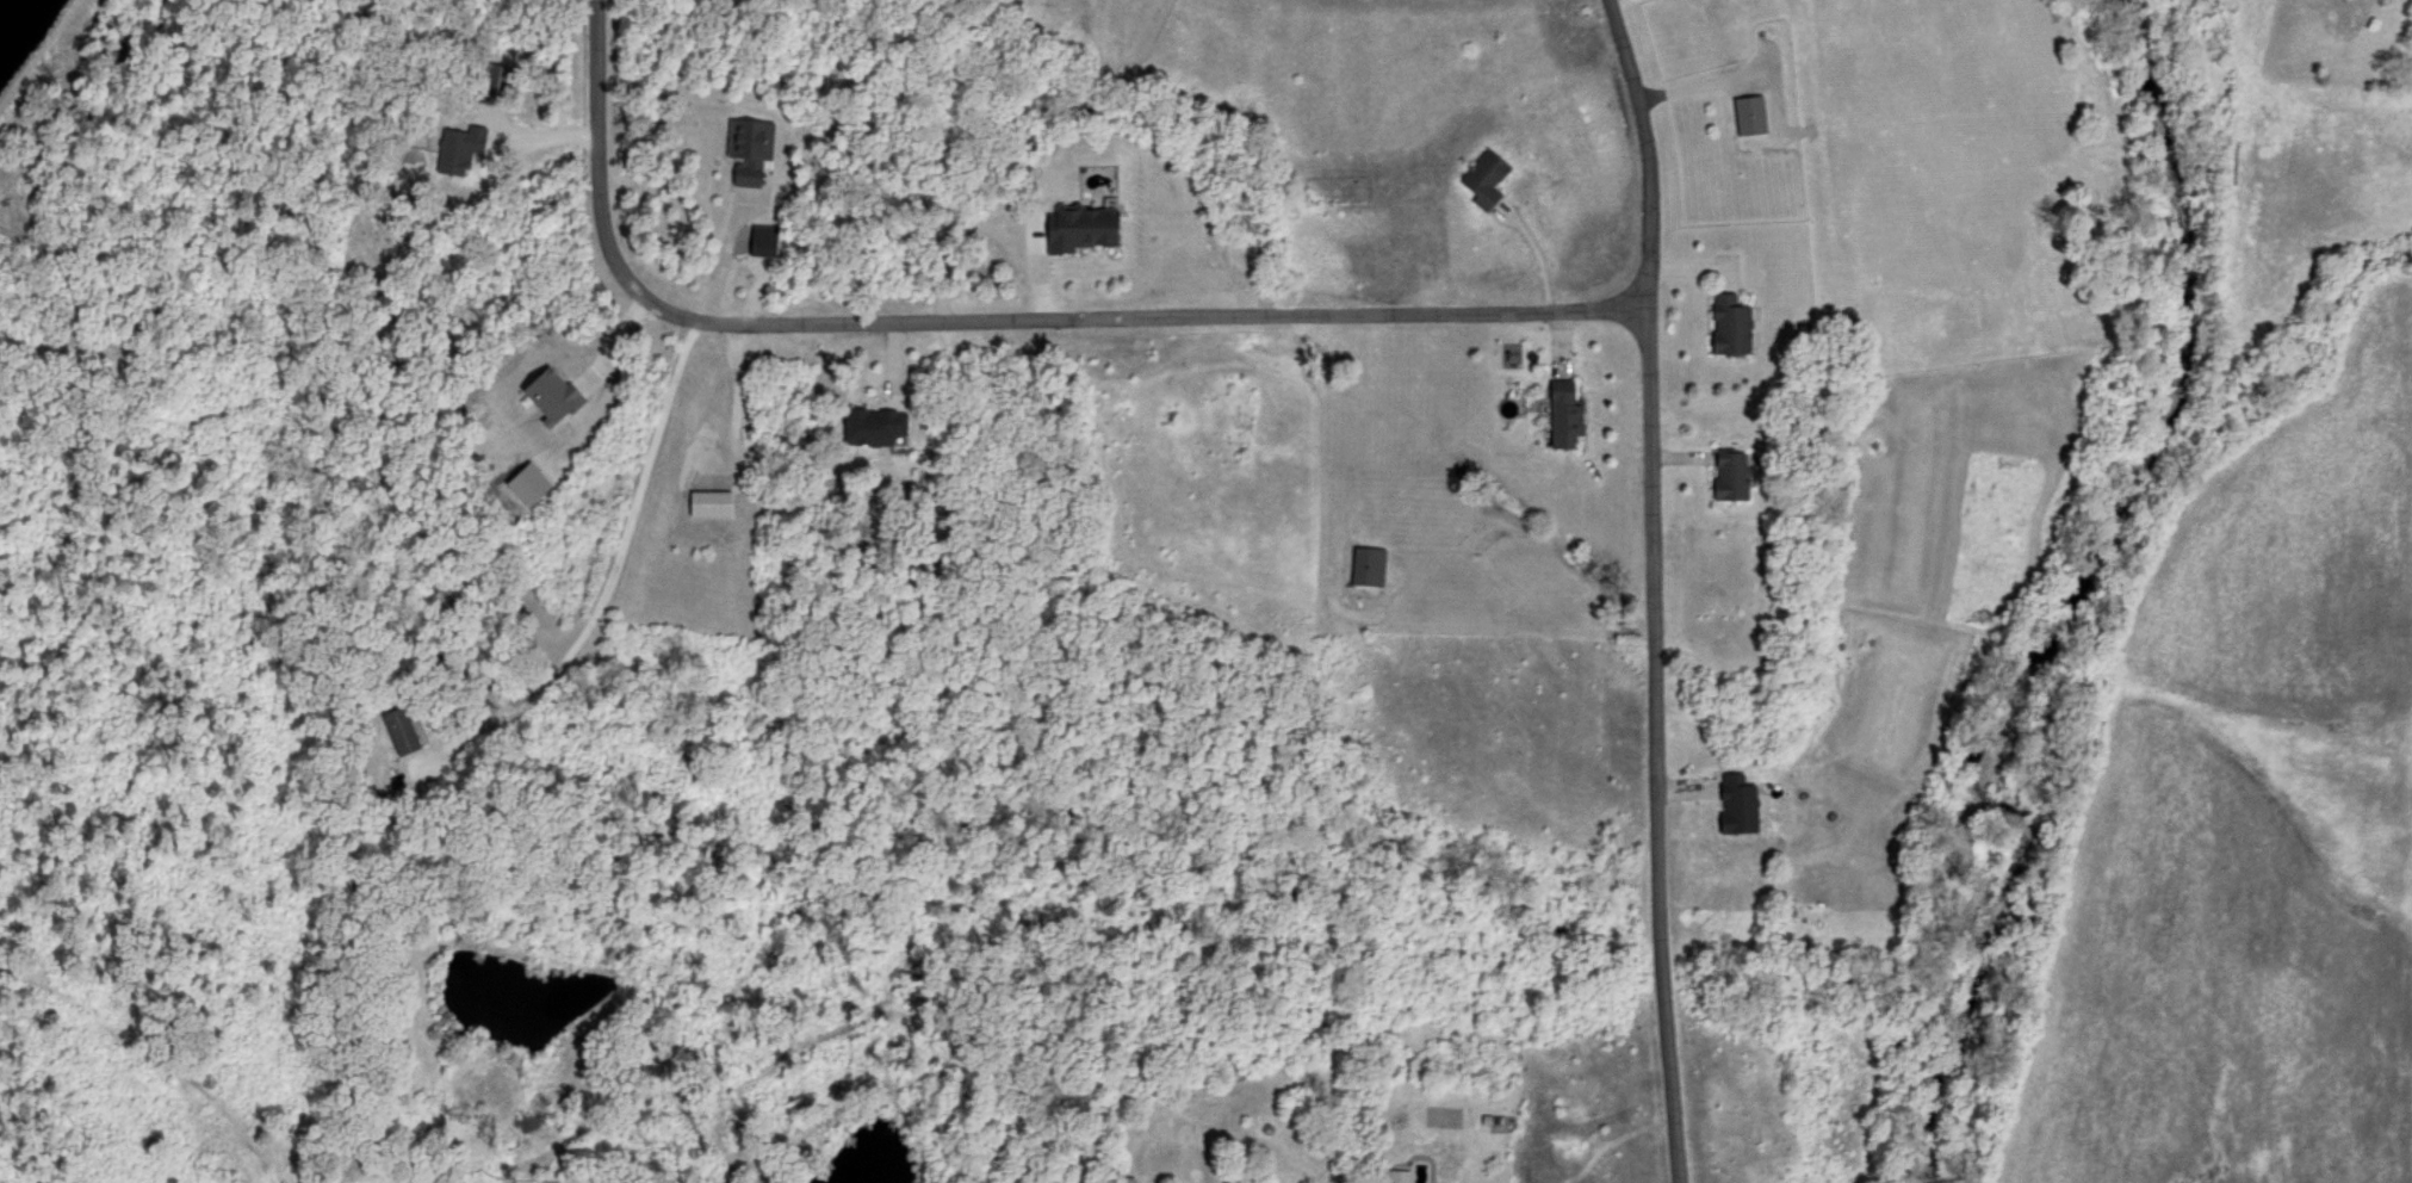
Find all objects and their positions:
road: (1734, 73)
building: (1754, 112)
road: (533, 137)
building: (751, 148)
road: (1650, 155)
building: (1489, 176)
road: (979, 223)
building: (1090, 224)
road: (725, 255)
road: (1539, 256)
road: (988, 318)
building: (1737, 322)
road: (737, 400)
building: (1569, 410)
building: (878, 422)
building: (1737, 471)
building: (1371, 563)
road: (600, 602)
building: (404, 730)
road: (1656, 750)
building: (1743, 803)

